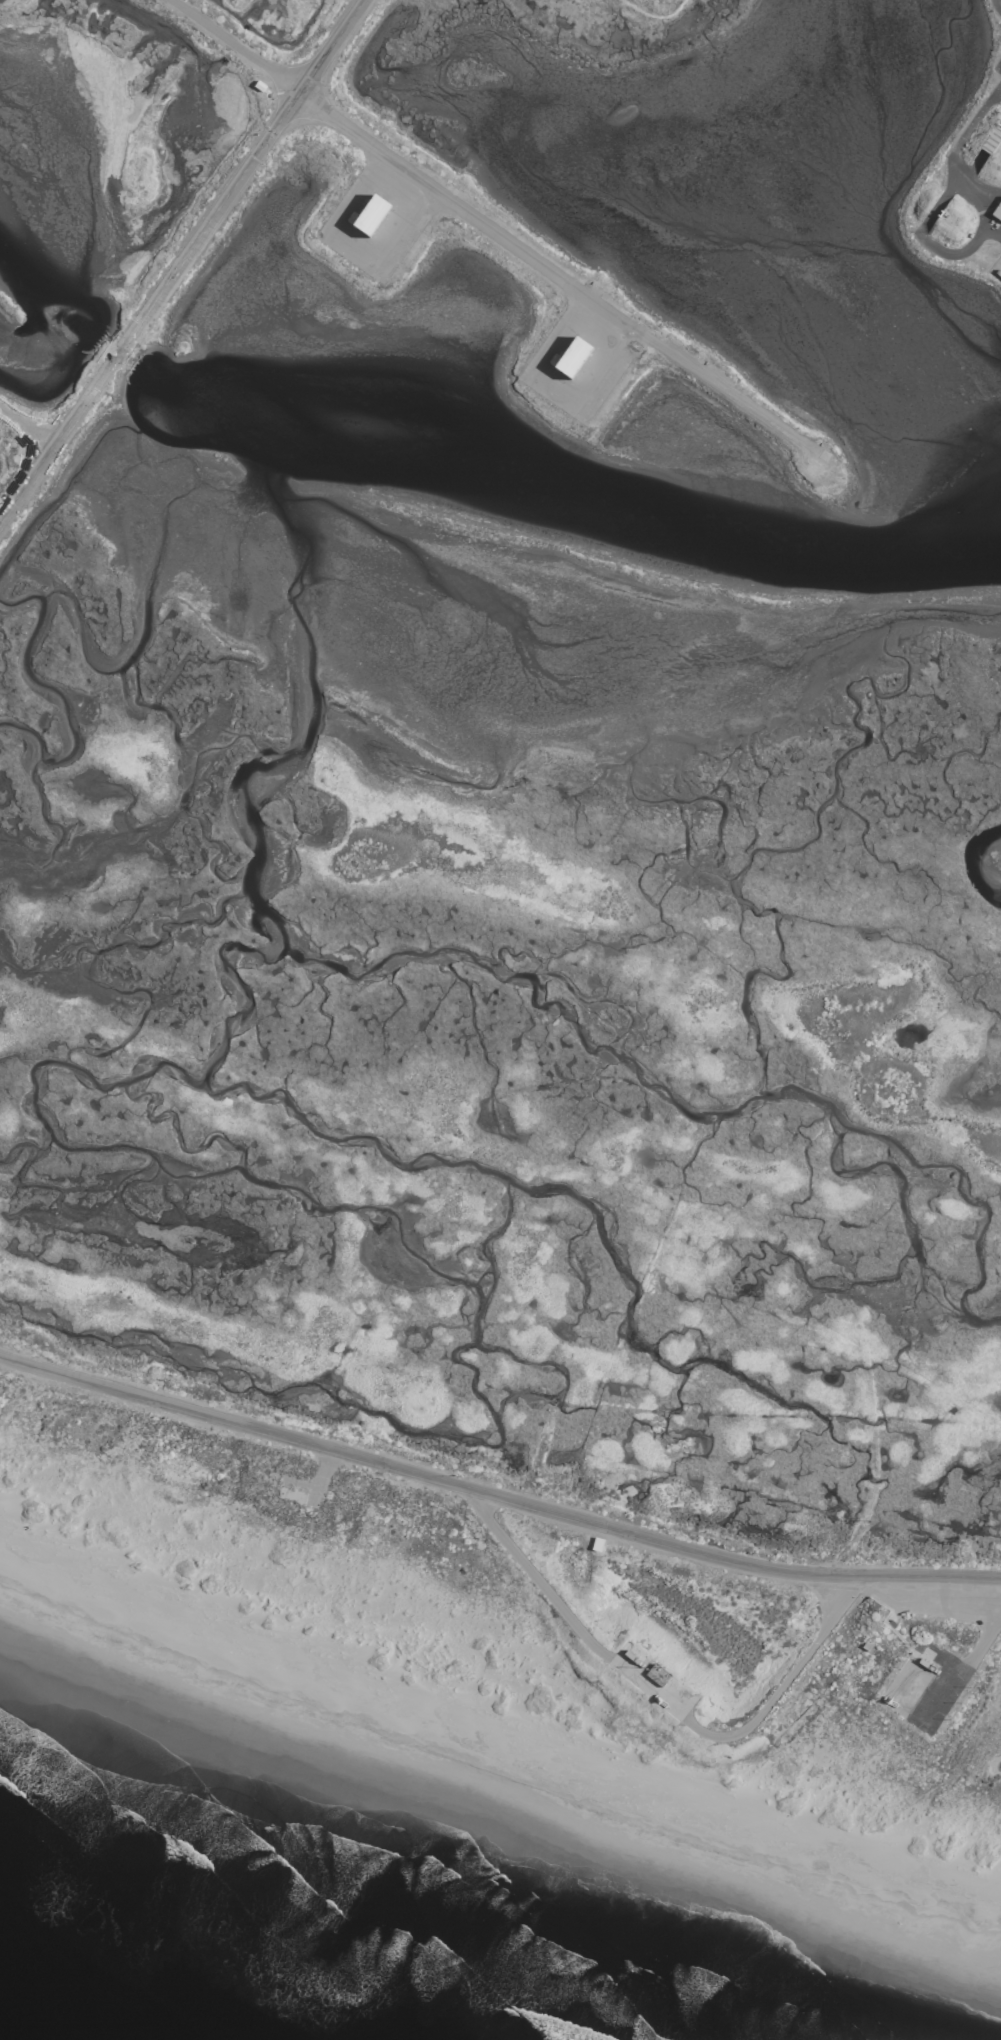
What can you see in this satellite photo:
road: (995, 6)
building: (996, 210)
building: (368, 215)
road: (496, 225)
road: (179, 257)
building: (570, 357)
road: (25, 423)
airport: (511, 986)
road: (495, 1494)
road: (919, 1606)
road: (659, 1692)

